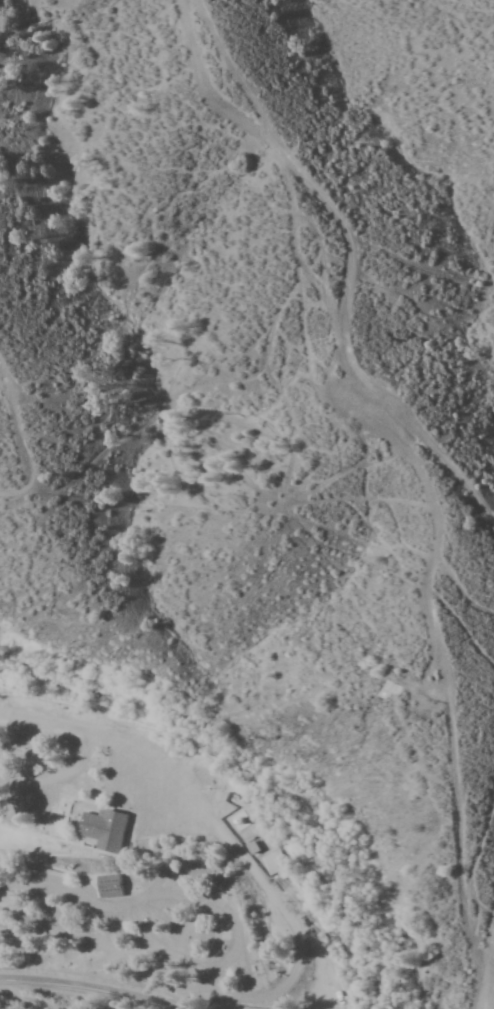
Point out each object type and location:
road: (429, 439)
road: (397, 455)
building: (393, 692)
road: (198, 810)
building: (106, 830)
building: (272, 864)
building: (112, 887)
road: (157, 900)
building: (216, 936)
road: (485, 949)
road: (143, 961)
road: (85, 988)
road: (475, 992)

